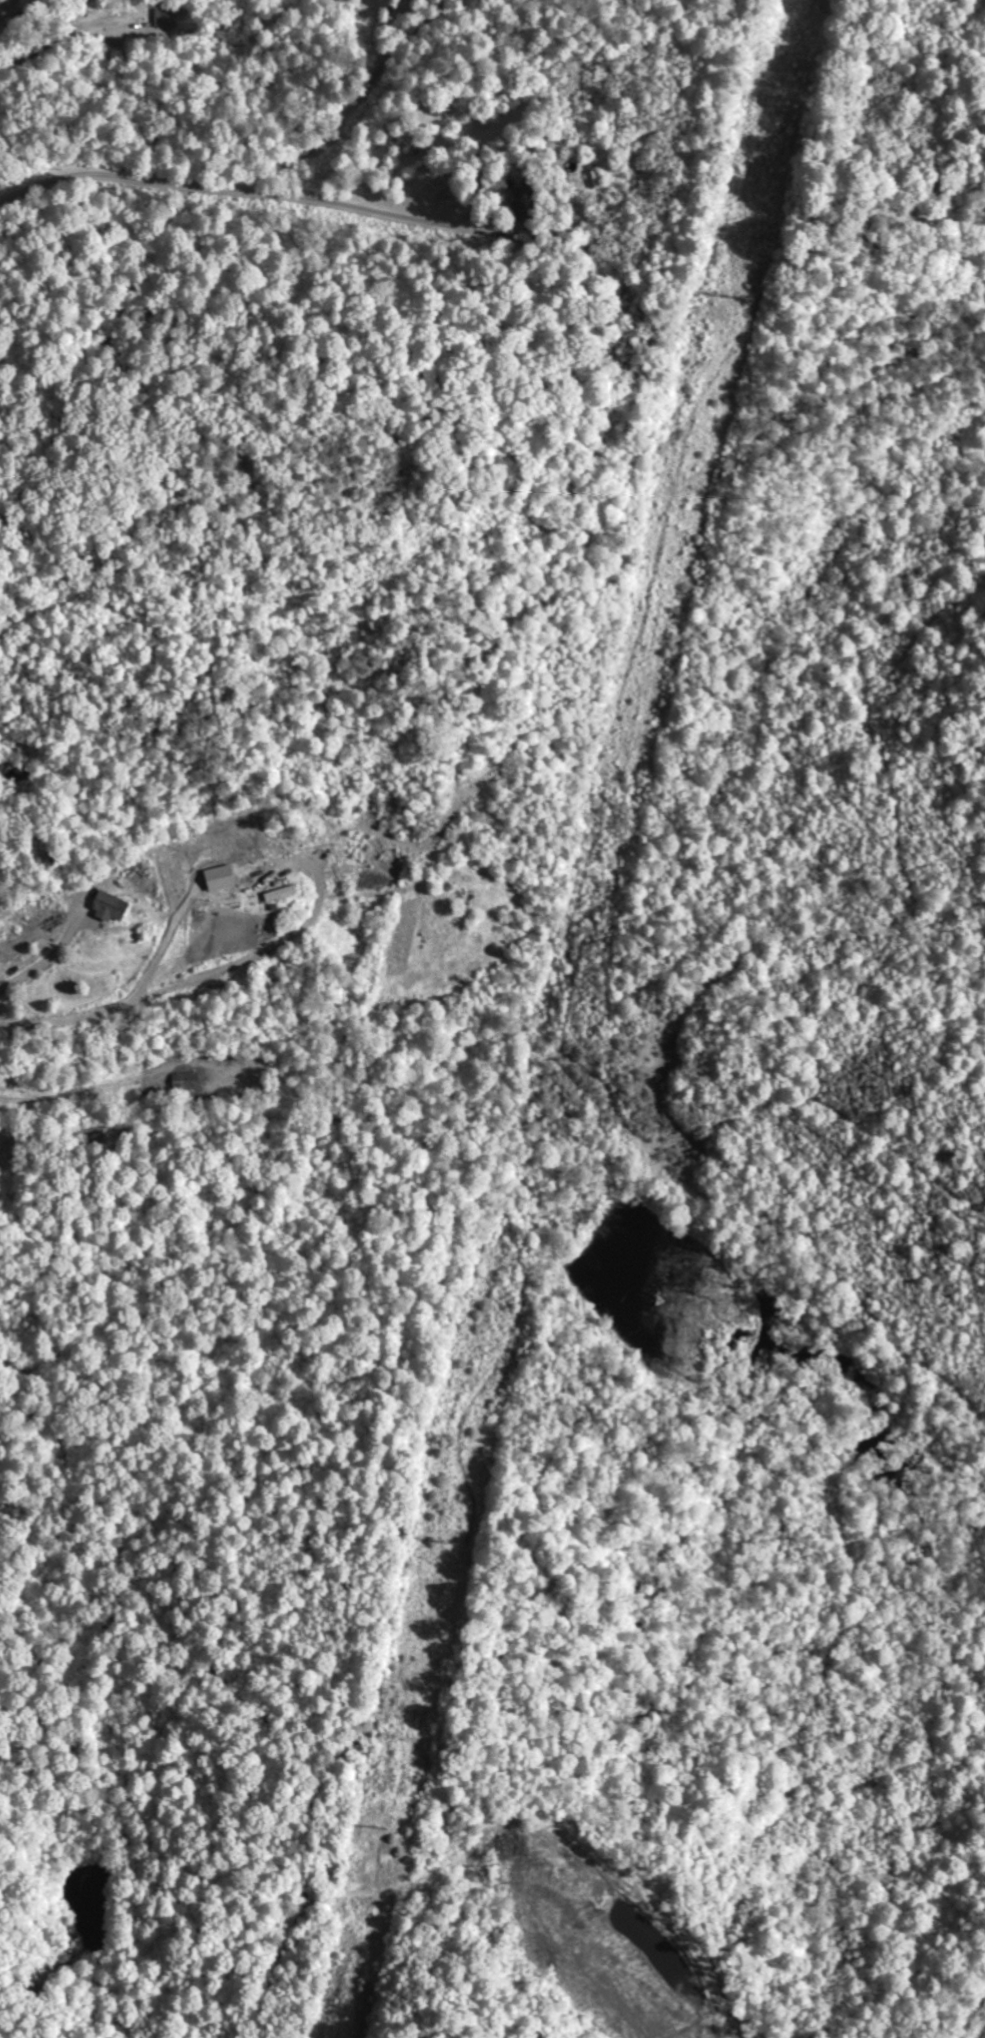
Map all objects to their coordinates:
building: (167, 17)
road: (194, 489)
building: (221, 878)
building: (110, 906)
building: (186, 1081)
building: (1, 1137)

